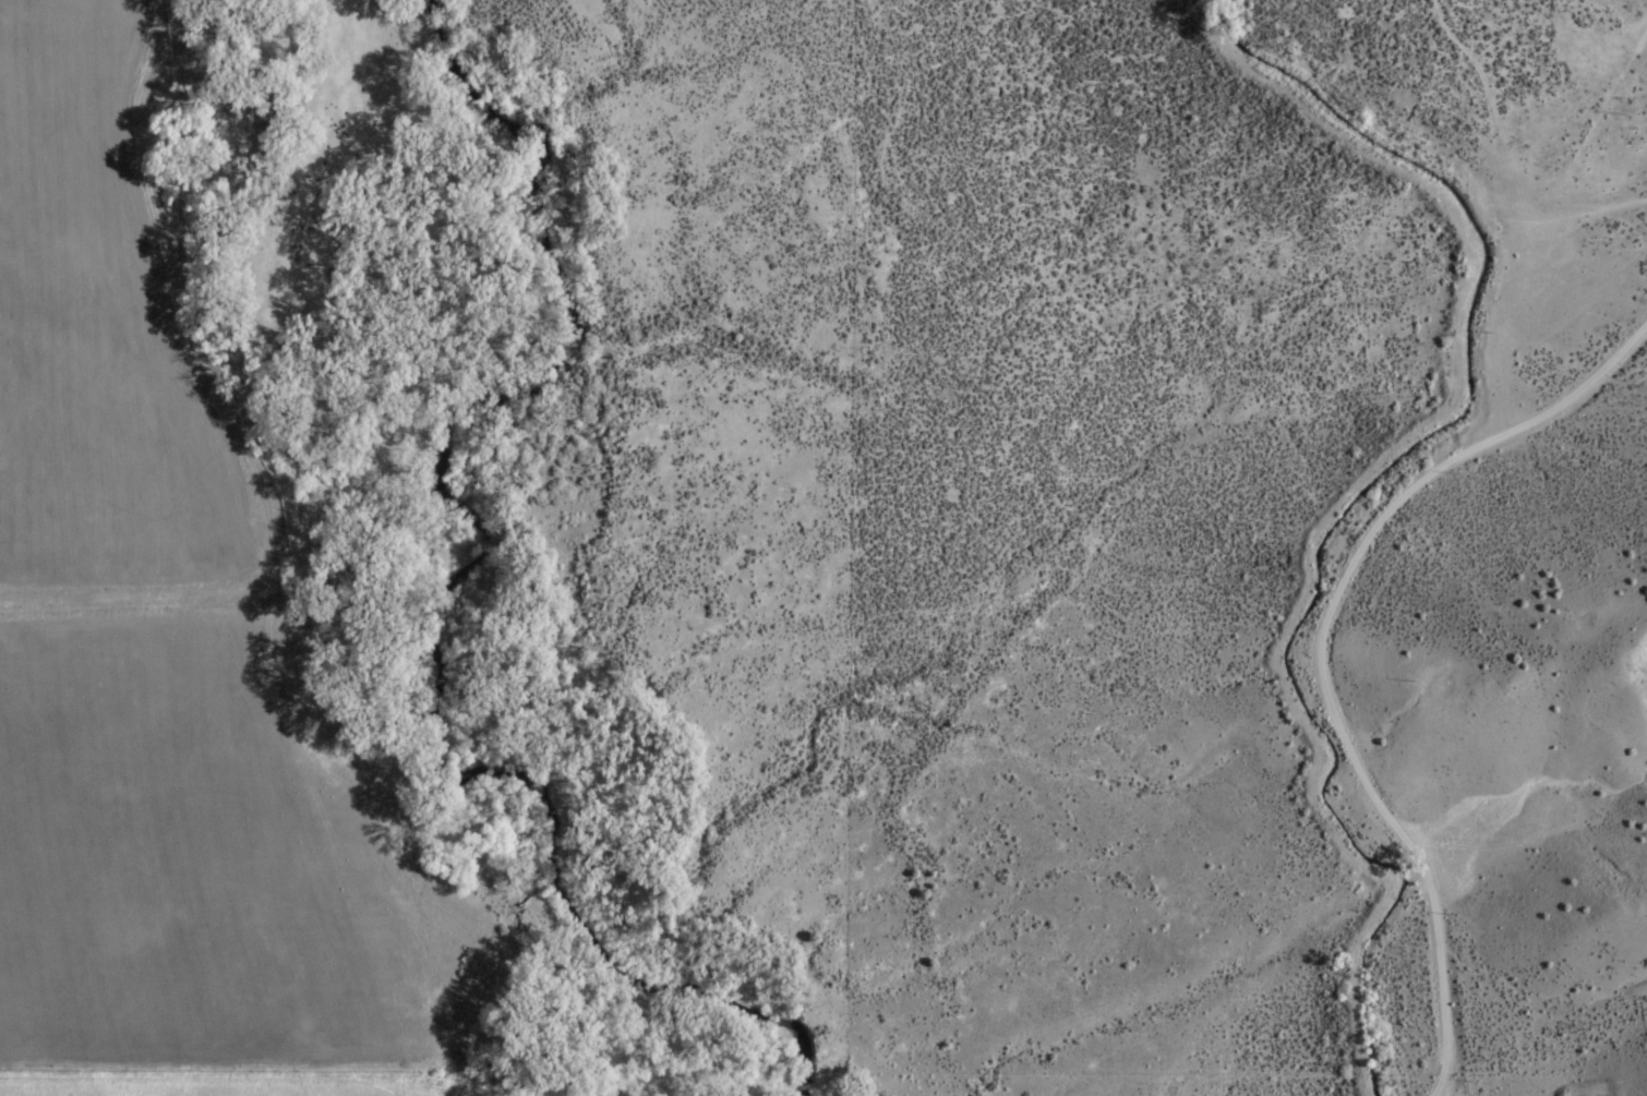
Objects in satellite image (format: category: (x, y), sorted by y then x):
river: (471, 581)

